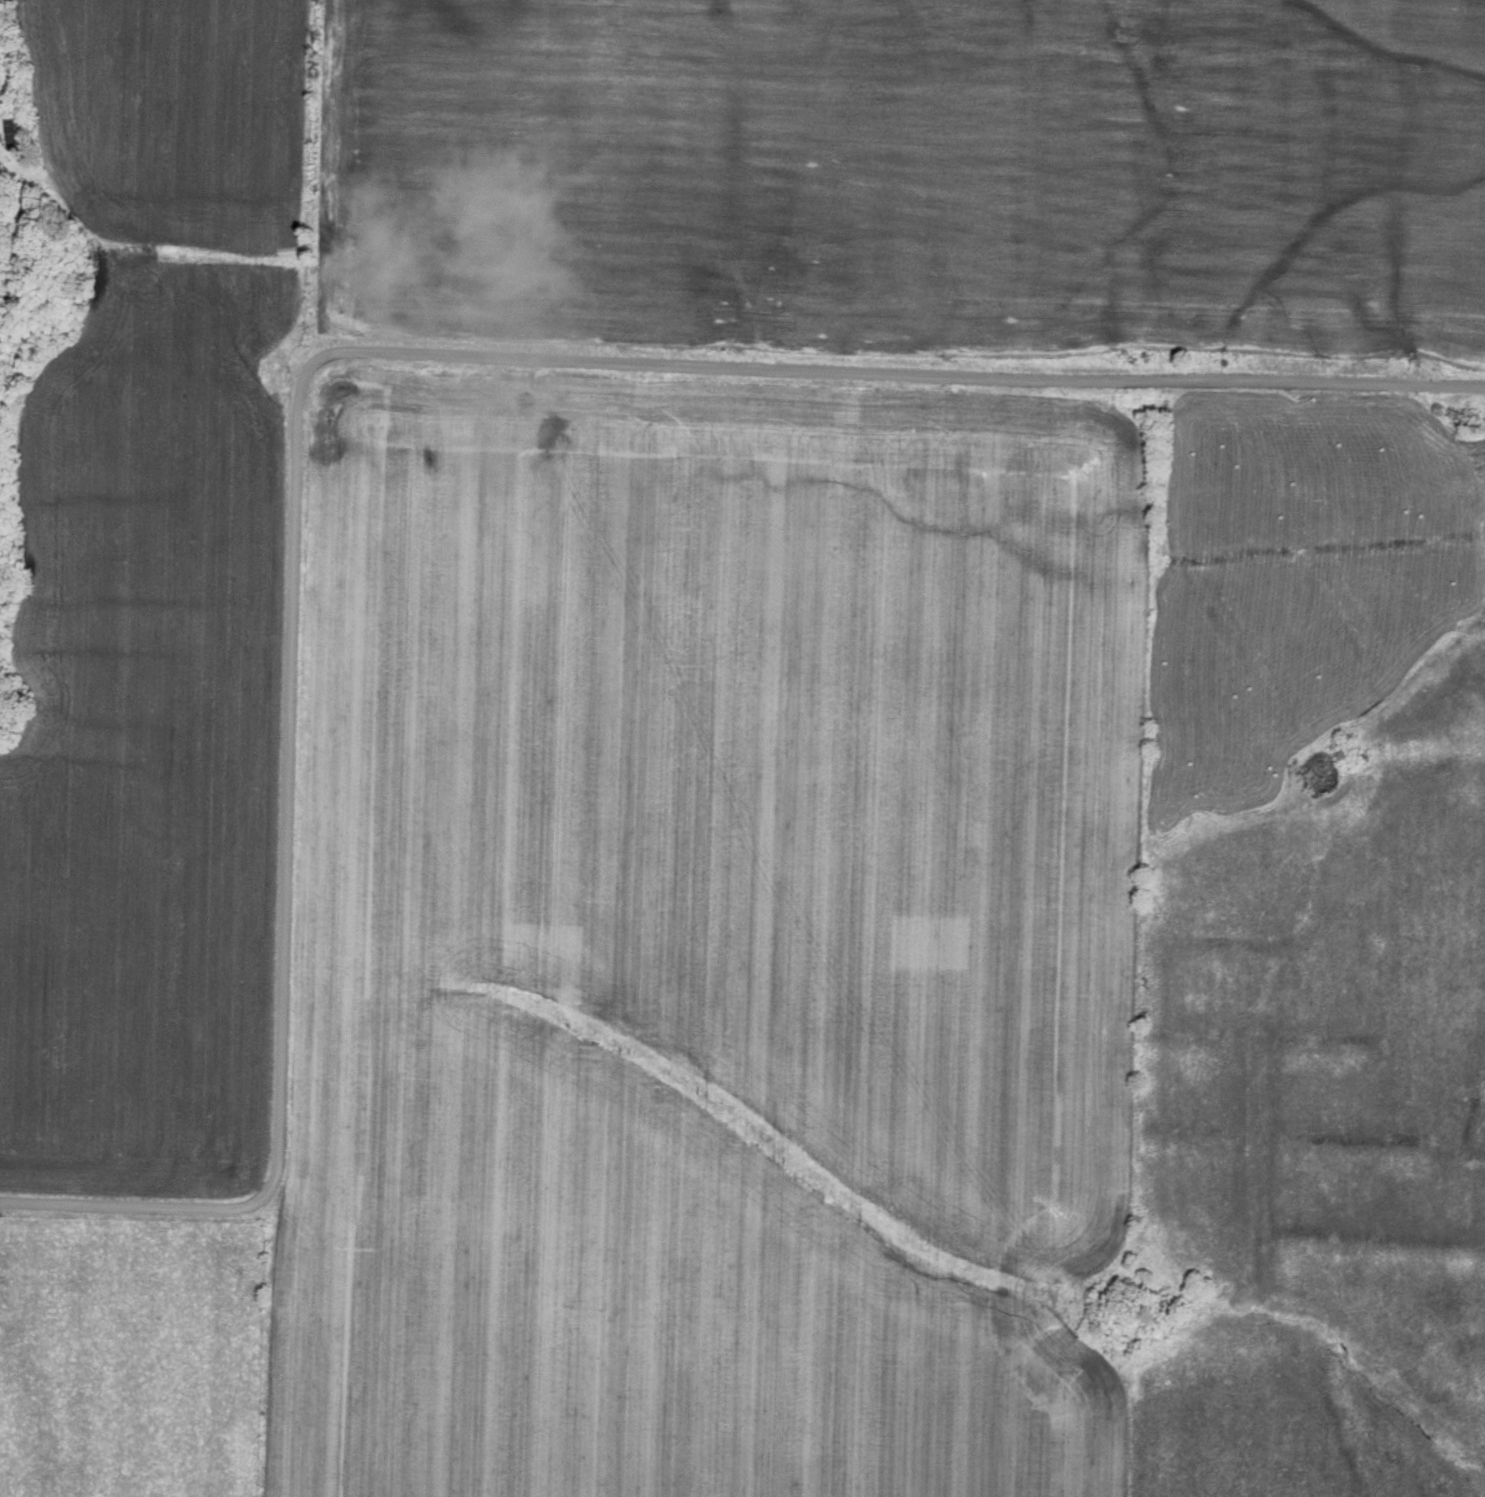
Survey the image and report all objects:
building: (14, 134)
road: (494, 368)
road: (22, 505)
road: (134, 1215)

